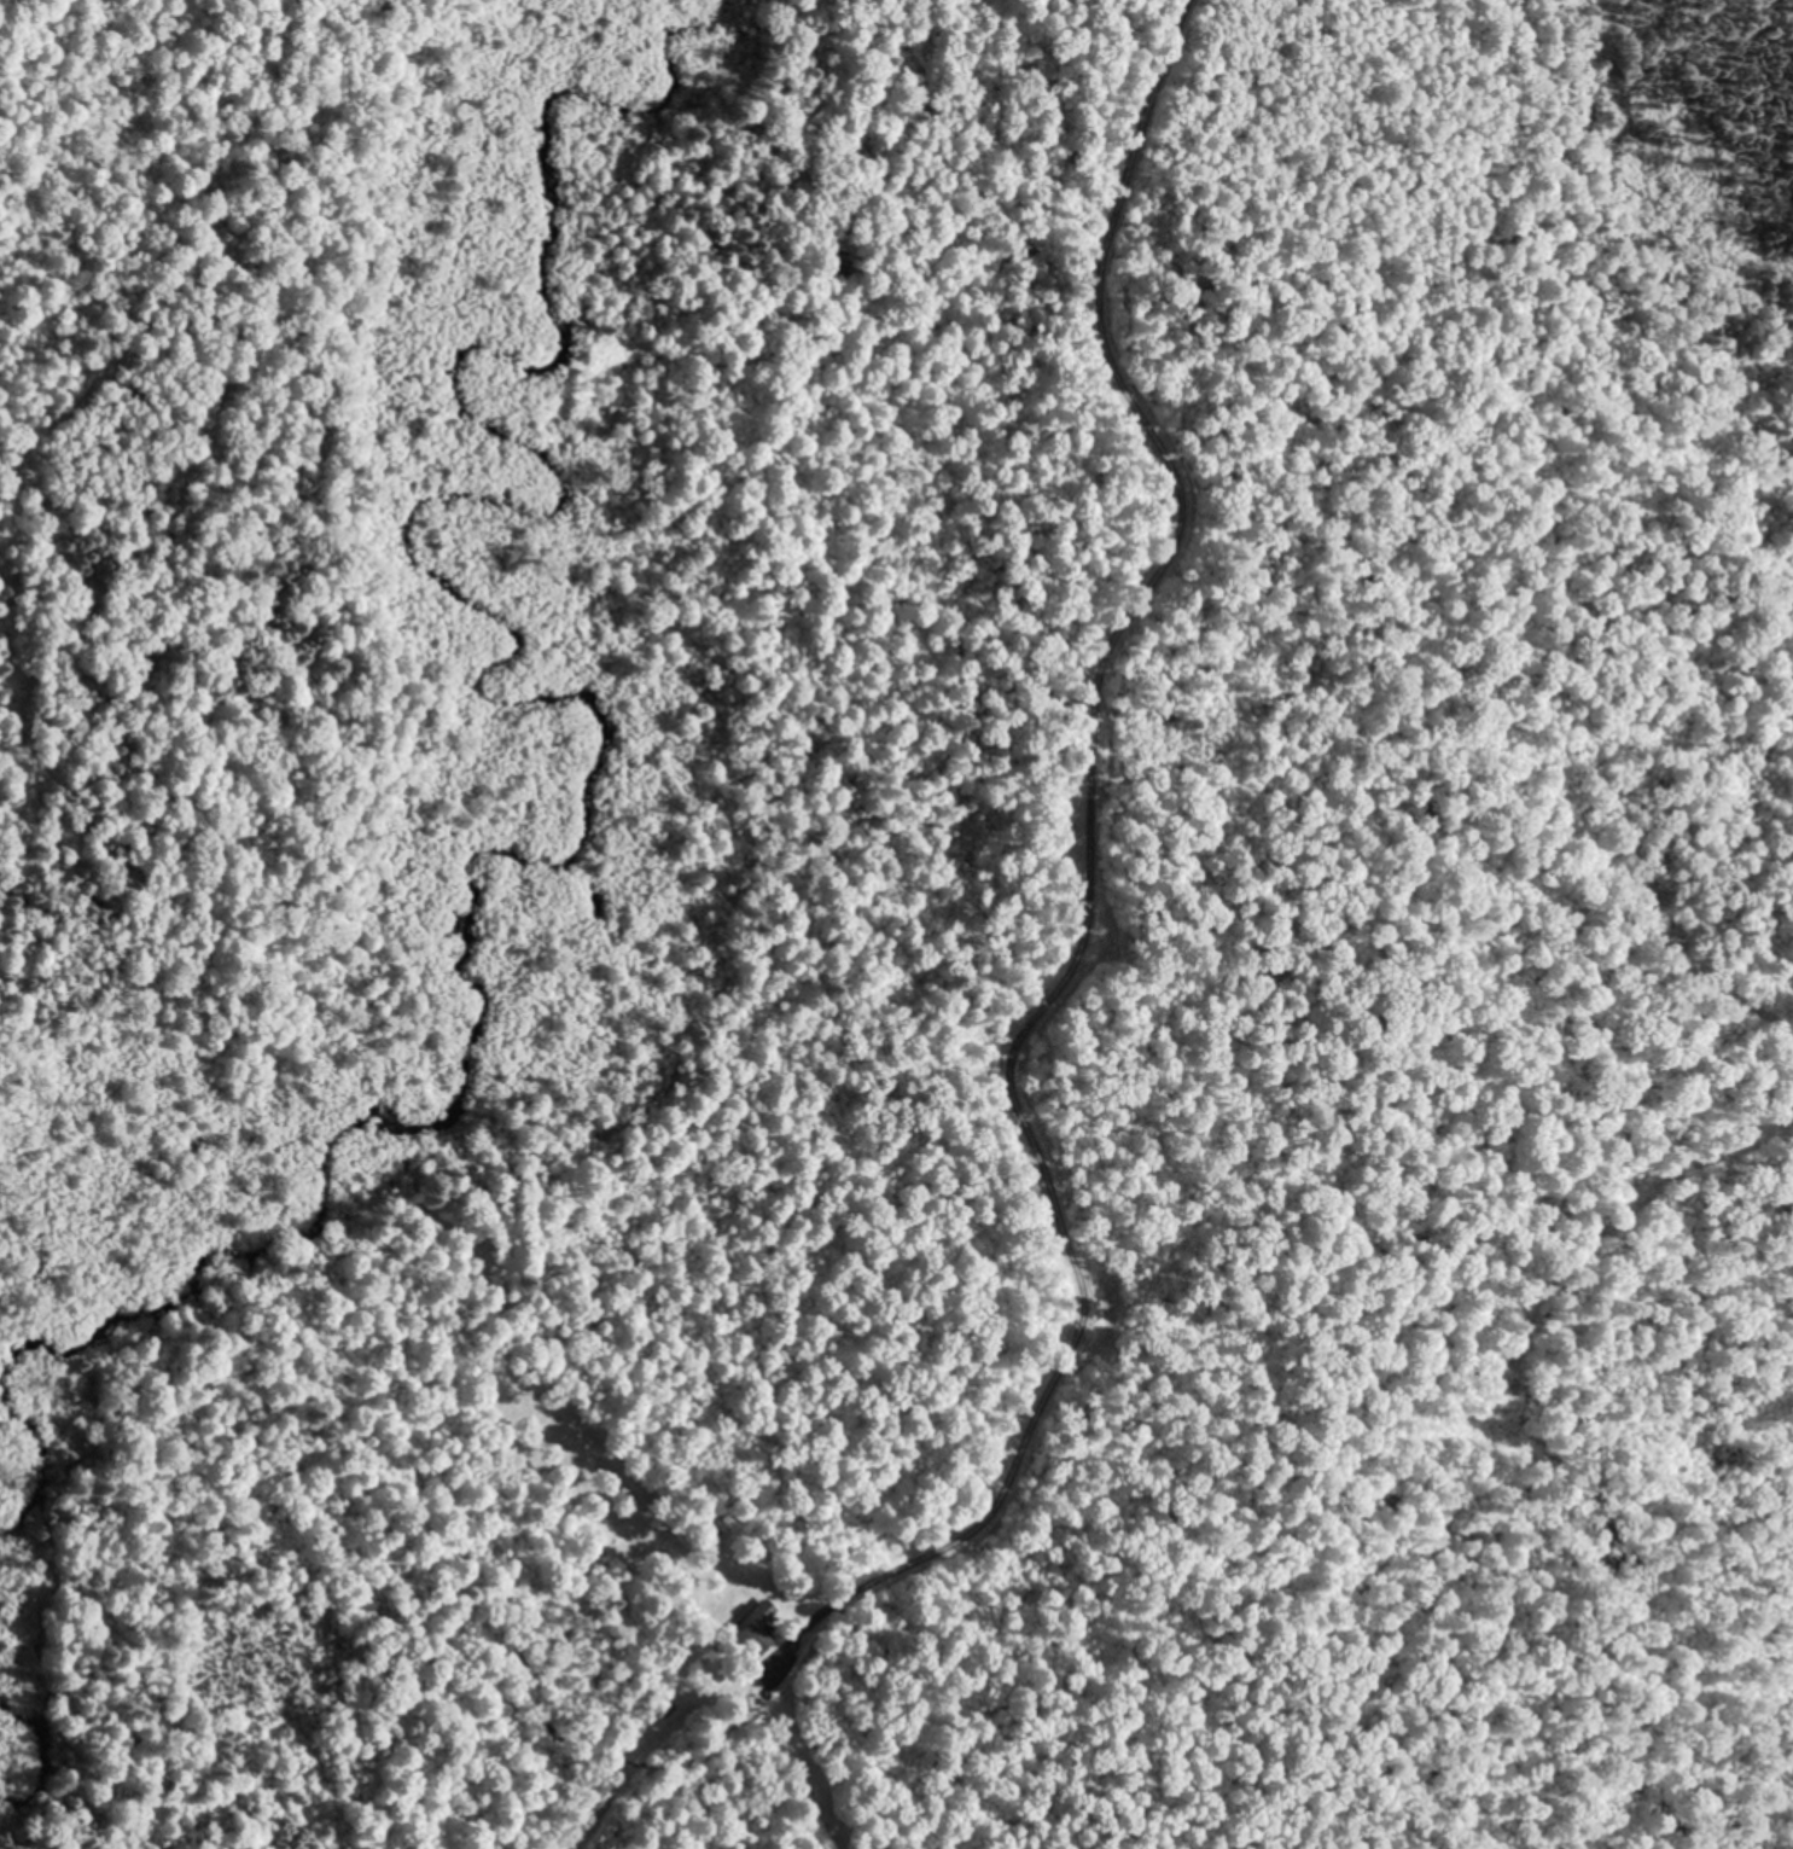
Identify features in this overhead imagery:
road: (1116, 924)

